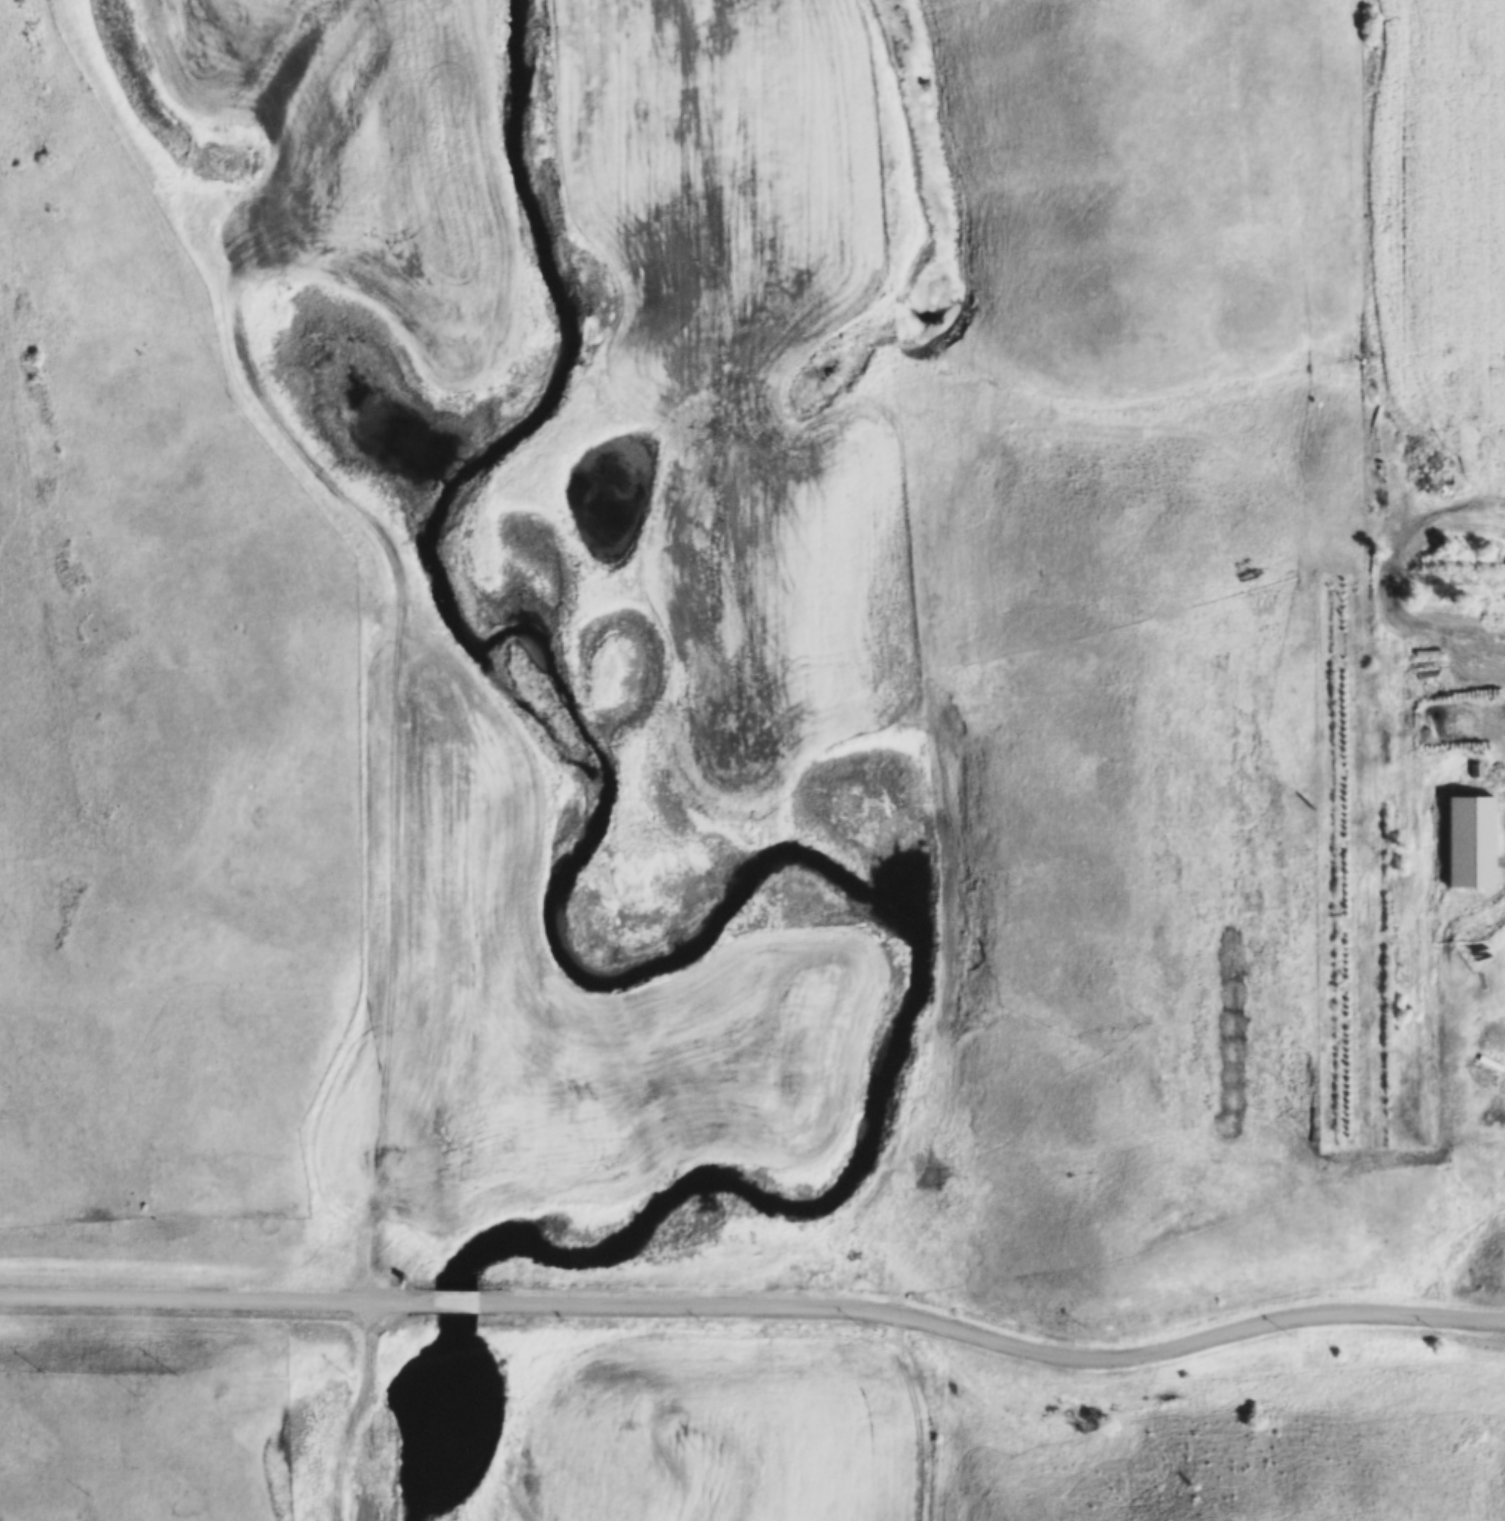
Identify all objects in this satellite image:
road: (1391, 573)
river: (709, 915)
road: (216, 1295)
road: (454, 1300)
road: (992, 1333)
road: (343, 1409)

